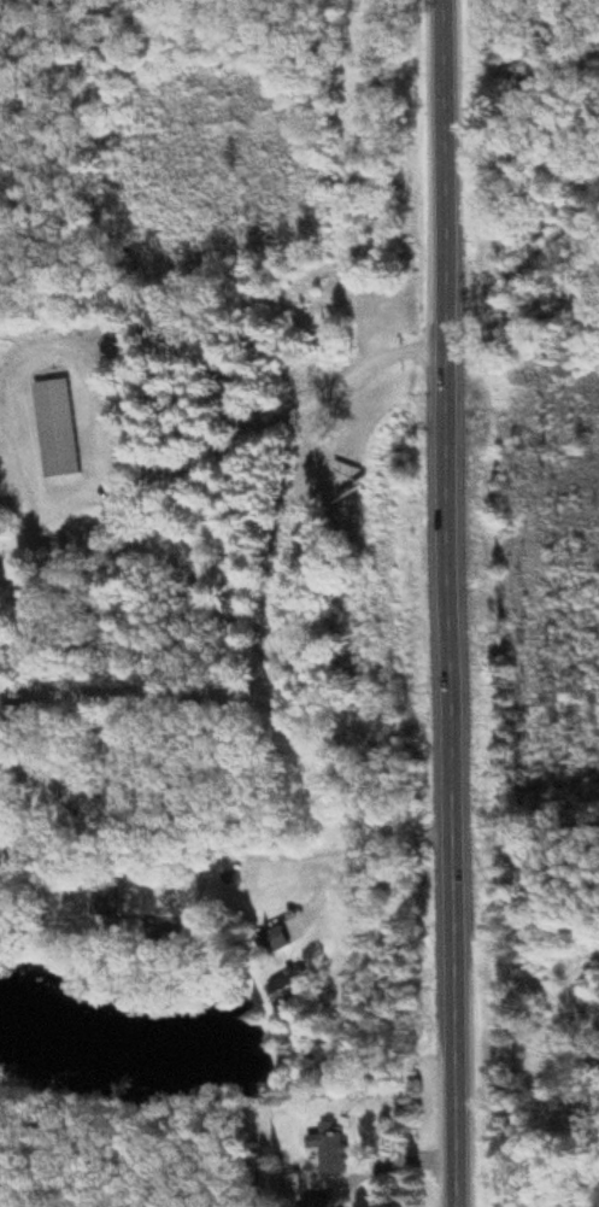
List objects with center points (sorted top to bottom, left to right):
building: (20, 415)
building: (64, 429)
road: (222, 438)
road: (447, 603)
building: (121, 901)
building: (284, 944)
road: (324, 1152)
building: (346, 1154)
building: (335, 1205)

